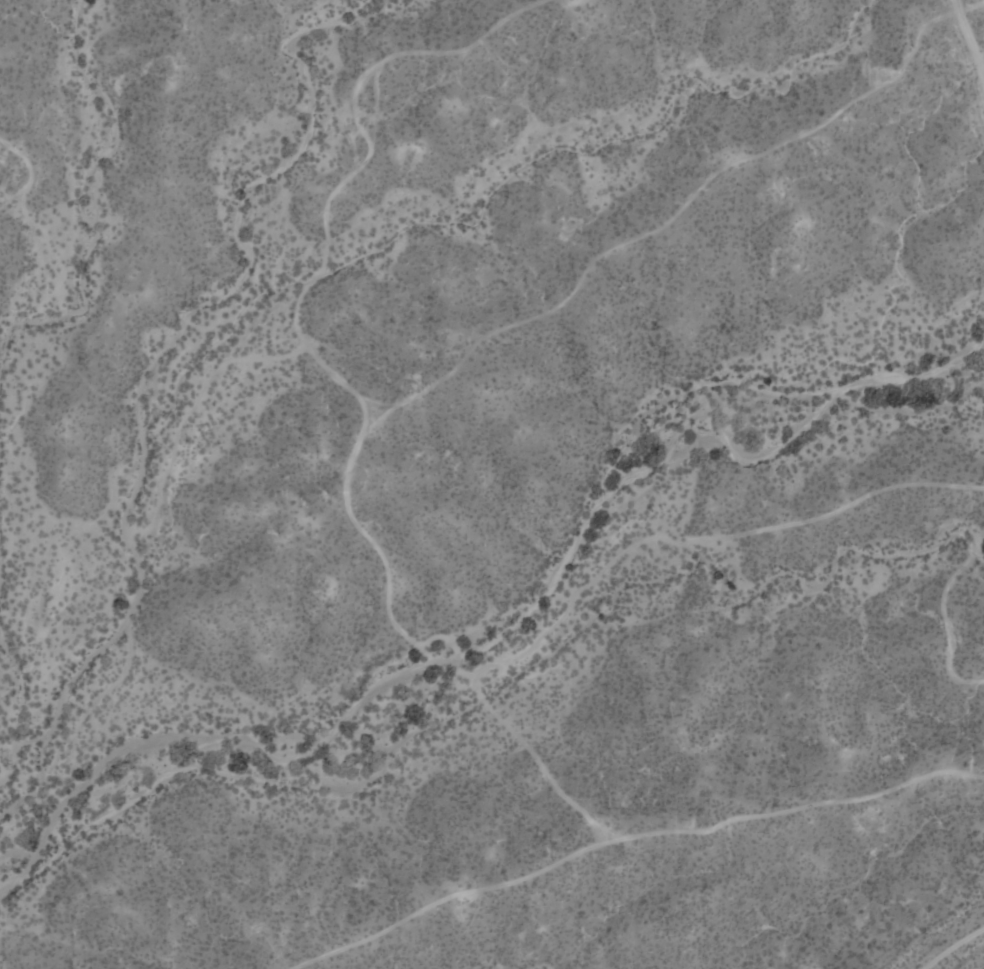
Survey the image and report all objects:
road: (970, 42)
road: (365, 139)
road: (30, 170)
road: (662, 223)
road: (190, 406)
road: (379, 416)
road: (565, 606)
road: (949, 945)

